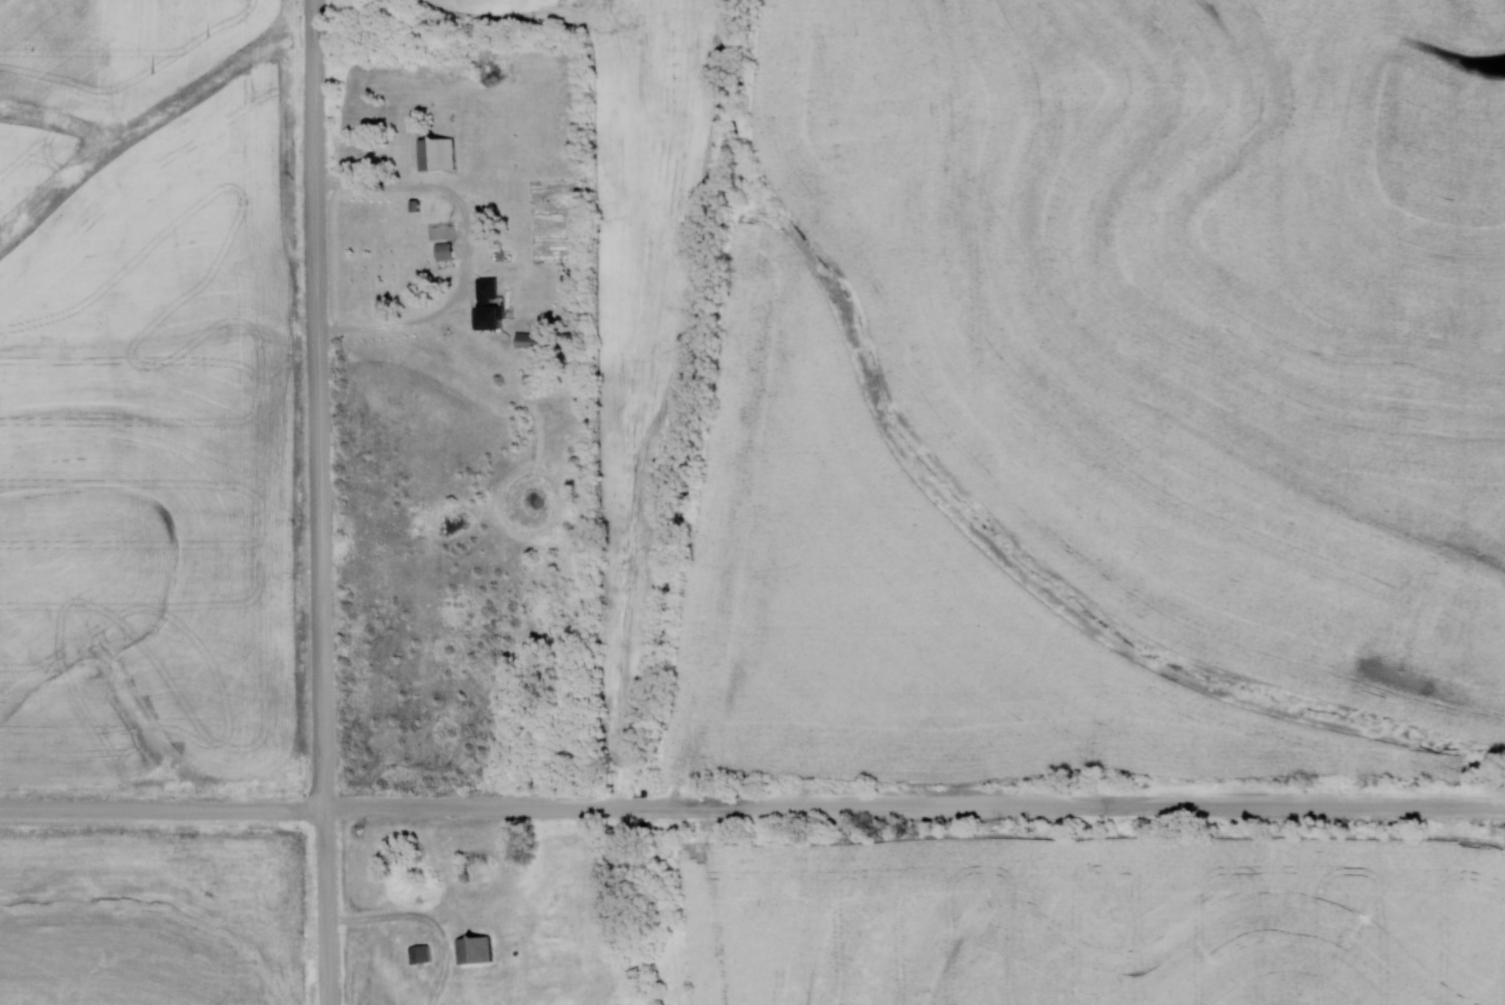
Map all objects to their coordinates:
building: (444, 251)
building: (486, 300)
building: (530, 340)
road: (329, 502)
road: (752, 798)
building: (474, 869)
building: (474, 950)
building: (420, 955)

